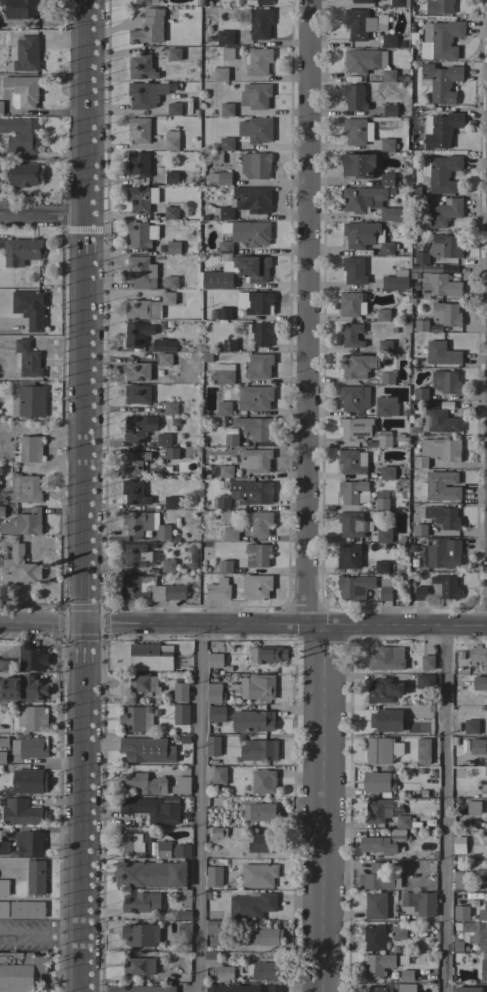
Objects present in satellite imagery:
building: (145, 1)
building: (363, 1)
building: (264, 2)
building: (399, 3)
building: (439, 7)
building: (22, 8)
building: (361, 23)
building: (259, 24)
building: (148, 28)
building: (223, 38)
building: (443, 38)
building: (388, 40)
building: (24, 54)
building: (173, 54)
building: (227, 54)
building: (361, 60)
building: (258, 62)
building: (141, 67)
building: (220, 75)
building: (388, 75)
building: (441, 82)
building: (22, 91)
building: (145, 94)
building: (255, 95)
building: (354, 97)
building: (1, 108)
building: (174, 109)
building: (226, 109)
building: (389, 110)
building: (441, 129)
building: (138, 130)
building: (256, 130)
building: (357, 131)
building: (20, 135)
building: (171, 140)
building: (226, 144)
building: (387, 145)
building: (214, 158)
building: (142, 163)
building: (255, 165)
building: (358, 165)
building: (441, 172)
building: (23, 174)
building: (171, 178)
building: (219, 178)
building: (387, 179)
building: (141, 198)
building: (252, 199)
building: (370, 203)
building: (171, 212)
building: (444, 212)
building: (222, 213)
road: (41, 214)
building: (247, 233)
building: (138, 234)
building: (365, 236)
building: (173, 248)
building: (440, 249)
building: (21, 251)
building: (227, 266)
building: (253, 268)
building: (433, 269)
building: (354, 270)
building: (141, 272)
building: (395, 281)
building: (171, 282)
building: (438, 285)
building: (258, 303)
building: (351, 305)
building: (148, 307)
building: (30, 308)
road: (305, 312)
building: (224, 313)
building: (445, 313)
building: (382, 315)
building: (421, 326)
building: (137, 334)
building: (258, 334)
building: (351, 335)
building: (229, 345)
building: (164, 346)
building: (384, 346)
building: (441, 354)
building: (26, 360)
building: (165, 360)
building: (357, 365)
building: (258, 366)
building: (137, 372)
building: (223, 373)
building: (387, 378)
building: (446, 382)
building: (420, 394)
building: (137, 395)
building: (254, 398)
building: (353, 398)
building: (30, 400)
building: (385, 406)
building: (170, 408)
building: (223, 408)
building: (438, 420)
building: (254, 427)
building: (138, 428)
building: (356, 429)
building: (384, 439)
building: (163, 440)
building: (230, 440)
building: (26, 448)
building: (441, 449)
building: (171, 453)
building: (255, 460)
building: (134, 462)
building: (352, 462)
building: (418, 462)
building: (225, 471)
building: (387, 473)
building: (24, 489)
building: (438, 490)
building: (251, 492)
building: (353, 492)
building: (134, 493)
road: (81, 495)
building: (171, 503)
building: (220, 503)
building: (381, 504)
building: (1, 511)
building: (443, 517)
building: (139, 522)
building: (258, 522)
building: (23, 523)
building: (353, 525)
building: (419, 530)
building: (163, 532)
building: (230, 535)
building: (383, 535)
building: (443, 553)
building: (136, 555)
building: (258, 555)
building: (348, 555)
building: (168, 566)
building: (223, 566)
building: (19, 567)
building: (381, 567)
building: (256, 587)
building: (355, 587)
building: (445, 587)
building: (149, 589)
building: (385, 589)
building: (218, 590)
building: (420, 593)
road: (40, 624)
traffic signals: (81, 624)
road: (284, 624)
building: (268, 654)
building: (476, 654)
building: (150, 657)
building: (32, 659)
building: (386, 659)
building: (215, 660)
building: (430, 663)
building: (425, 682)
building: (478, 683)
building: (143, 684)
building: (257, 687)
building: (22, 688)
building: (383, 691)
building: (180, 692)
building: (214, 696)
building: (180, 714)
building: (216, 714)
building: (32, 718)
building: (136, 719)
building: (386, 720)
building: (253, 721)
building: (471, 727)
building: (4, 742)
building: (212, 745)
building: (143, 746)
building: (475, 746)
building: (31, 747)
building: (258, 750)
building: (382, 750)
building: (423, 751)
building: (4, 758)
building: (485, 771)
building: (219, 775)
building: (263, 781)
building: (29, 782)
building: (144, 782)
building: (379, 782)
building: (181, 785)
building: (473, 807)
road: (197, 808)
road: (324, 809)
road: (442, 809)
building: (151, 810)
building: (378, 810)
building: (21, 812)
building: (259, 812)
building: (403, 821)
building: (221, 833)
building: (133, 842)
building: (383, 842)
building: (262, 843)
building: (31, 844)
building: (459, 845)
building: (3, 847)
building: (163, 849)
building: (180, 851)
road: (8, 862)
building: (486, 873)
building: (150, 874)
building: (258, 875)
building: (214, 876)
building: (36, 877)
building: (461, 880)
building: (376, 881)
building: (4, 887)
building: (141, 902)
building: (420, 902)
building: (251, 905)
building: (375, 905)
building: (4, 909)
building: (27, 910)
building: (483, 911)
building: (460, 913)
building: (216, 927)
building: (184, 928)
building: (398, 930)
building: (476, 933)
road: (40, 934)
building: (141, 934)
building: (266, 936)
building: (374, 938)
building: (217, 942)
building: (378, 964)
building: (139, 966)
building: (218, 967)
building: (484, 967)
building: (265, 970)
building: (21, 971)
building: (406, 975)
building: (139, 988)
building: (232, 988)
building: (274, 988)
building: (406, 988)
building: (377, 989)
building: (467, 989)

